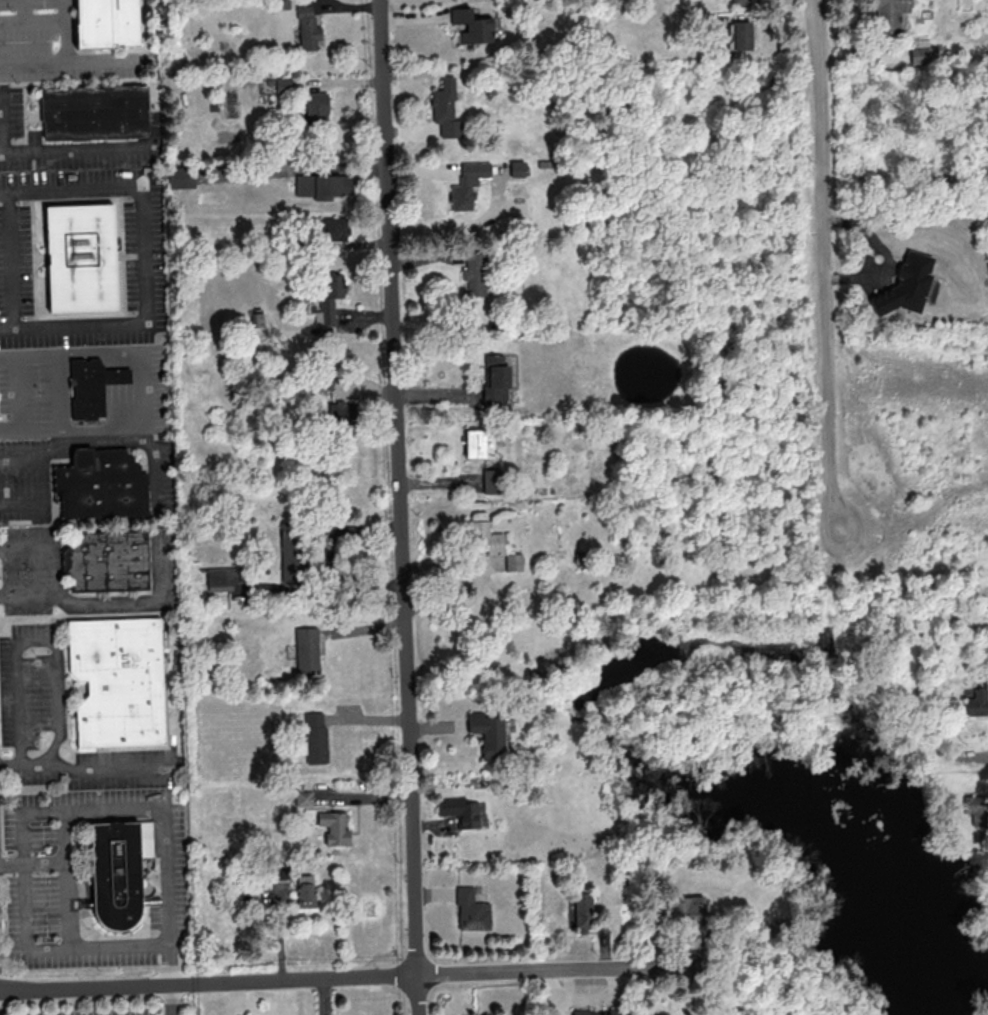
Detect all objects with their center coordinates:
building: (739, 2)
building: (281, 4)
road: (22, 11)
building: (888, 15)
road: (32, 21)
building: (110, 22)
building: (470, 25)
building: (306, 27)
building: (740, 34)
building: (918, 50)
road: (101, 63)
road: (65, 64)
building: (283, 84)
building: (445, 108)
building: (316, 110)
building: (96, 112)
road: (72, 149)
building: (180, 177)
building: (467, 183)
building: (323, 186)
building: (334, 227)
road: (819, 238)
road: (144, 257)
building: (83, 258)
road: (11, 260)
building: (476, 274)
building: (904, 285)
building: (331, 296)
road: (108, 354)
building: (495, 377)
building: (320, 379)
building: (92, 389)
road: (19, 393)
road: (71, 428)
road: (62, 433)
building: (473, 442)
building: (491, 481)
building: (102, 484)
road: (21, 503)
road: (399, 507)
building: (483, 537)
road: (43, 543)
building: (291, 550)
building: (107, 561)
building: (512, 561)
road: (846, 562)
building: (228, 583)
road: (164, 600)
road: (39, 641)
building: (306, 650)
building: (119, 681)
building: (974, 702)
building: (487, 730)
building: (314, 738)
road: (974, 754)
road: (86, 772)
building: (302, 797)
road: (131, 807)
building: (976, 807)
building: (459, 810)
building: (336, 826)
road: (42, 865)
building: (118, 871)
road: (64, 879)
building: (305, 893)
building: (471, 909)
building: (686, 909)
building: (582, 912)
road: (67, 947)
road: (314, 978)
road: (171, 999)
building: (599, 1012)

